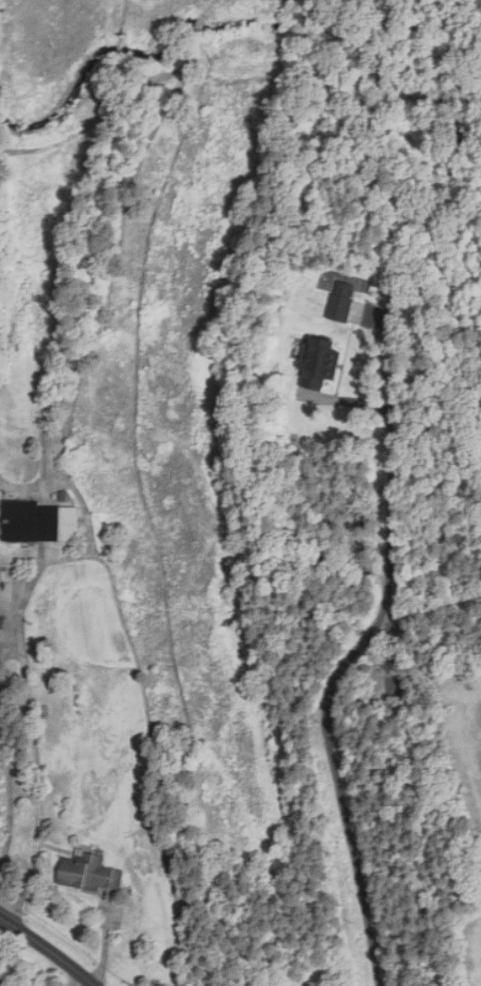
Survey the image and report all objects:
building: (342, 301)
building: (319, 362)
road: (410, 365)
building: (39, 522)
road: (23, 659)
road: (341, 665)
building: (90, 873)
road: (49, 948)
road: (106, 949)
building: (1, 983)

